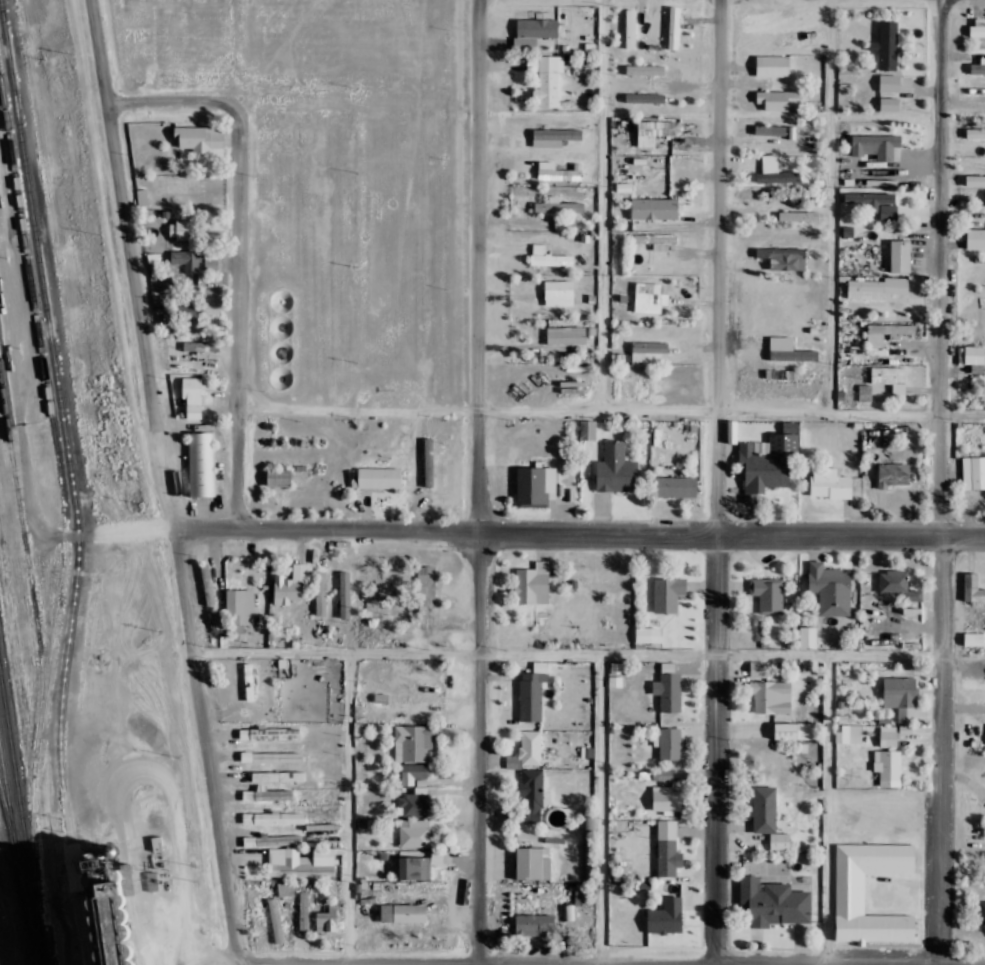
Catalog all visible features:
building: (673, 27)
building: (978, 27)
building: (533, 32)
building: (887, 45)
building: (772, 66)
building: (978, 66)
building: (645, 69)
building: (545, 79)
building: (889, 83)
building: (645, 97)
building: (777, 99)
building: (889, 103)
road: (175, 104)
building: (656, 130)
building: (770, 130)
building: (975, 133)
building: (554, 136)
building: (199, 137)
building: (876, 145)
building: (775, 171)
building: (556, 172)
building: (975, 180)
building: (881, 181)
building: (142, 196)
building: (875, 202)
building: (558, 206)
road: (941, 207)
building: (654, 208)
building: (798, 215)
building: (182, 229)
building: (976, 238)
building: (656, 240)
building: (900, 255)
building: (547, 256)
building: (784, 257)
building: (186, 260)
road: (478, 265)
road: (716, 266)
building: (158, 274)
building: (876, 287)
building: (559, 290)
building: (649, 297)
building: (176, 311)
road: (245, 312)
building: (886, 331)
building: (566, 335)
building: (201, 345)
building: (789, 350)
building: (971, 355)
building: (618, 358)
building: (891, 378)
building: (865, 392)
railway: (46, 396)
building: (192, 396)
building: (587, 429)
building: (732, 431)
building: (428, 461)
building: (768, 461)
building: (201, 463)
building: (615, 468)
building: (973, 472)
building: (892, 474)
building: (278, 476)
building: (379, 477)
road: (165, 482)
building: (830, 483)
building: (536, 486)
building: (675, 486)
railway: (70, 487)
road: (578, 531)
building: (533, 583)
building: (290, 584)
building: (897, 584)
building: (973, 587)
building: (830, 588)
building: (425, 589)
building: (321, 591)
building: (668, 593)
building: (345, 594)
building: (768, 594)
building: (240, 608)
building: (642, 637)
building: (807, 637)
building: (973, 638)
railway: (39, 665)
building: (618, 667)
building: (758, 668)
building: (615, 681)
road: (941, 689)
building: (532, 691)
building: (668, 691)
building: (771, 696)
building: (900, 696)
building: (795, 730)
building: (268, 733)
building: (849, 733)
building: (888, 735)
building: (414, 741)
road: (481, 748)
road: (716, 749)
building: (526, 750)
building: (271, 756)
building: (887, 763)
building: (413, 772)
building: (278, 775)
building: (268, 793)
building: (531, 795)
building: (416, 800)
building: (667, 800)
building: (767, 815)
building: (274, 817)
railway: (8, 822)
railway: (21, 825)
building: (420, 832)
building: (668, 848)
building: (437, 856)
building: (301, 862)
building: (533, 862)
railway: (17, 864)
building: (414, 867)
building: (285, 888)
building: (850, 893)
building: (98, 898)
building: (772, 902)
building: (982, 910)
building: (304, 912)
building: (403, 912)
building: (666, 916)
building: (275, 919)
building: (327, 919)
building: (534, 924)
road: (611, 963)

